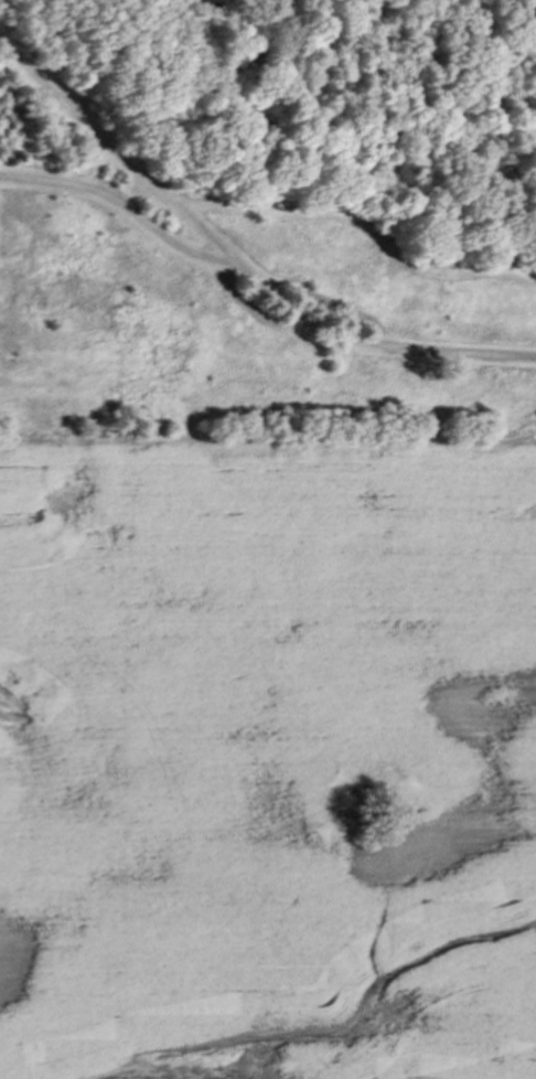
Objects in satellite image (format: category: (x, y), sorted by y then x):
road: (125, 207)
park: (268, 216)
road: (236, 264)
crop: (267, 756)

